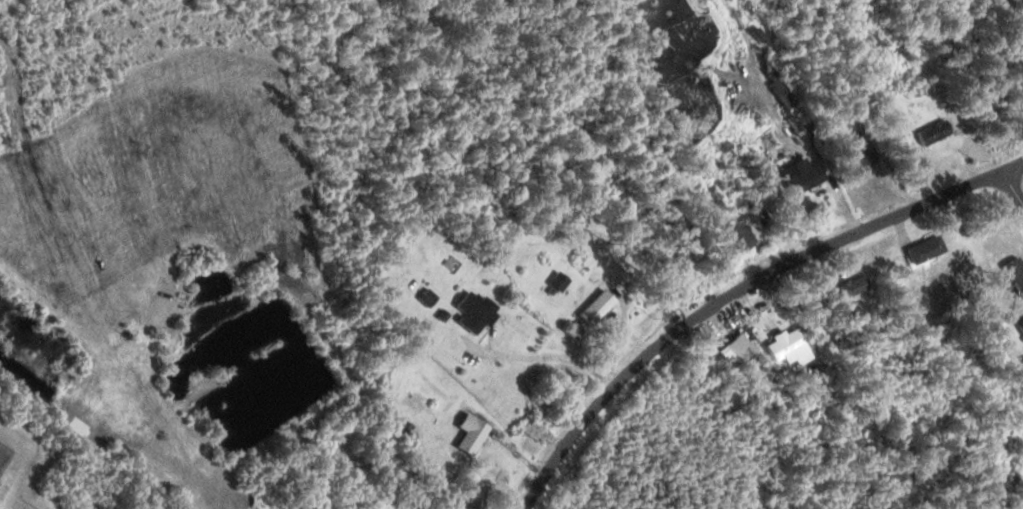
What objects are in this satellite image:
building: (776, 81)
building: (933, 126)
building: (856, 148)
building: (800, 171)
road: (1011, 185)
building: (741, 234)
building: (922, 244)
building: (560, 282)
road: (738, 286)
building: (853, 286)
building: (596, 306)
building: (476, 312)
building: (1021, 325)
building: (573, 330)
building: (786, 345)
building: (741, 347)
building: (471, 432)
power substation: (4, 454)
building: (463, 503)

